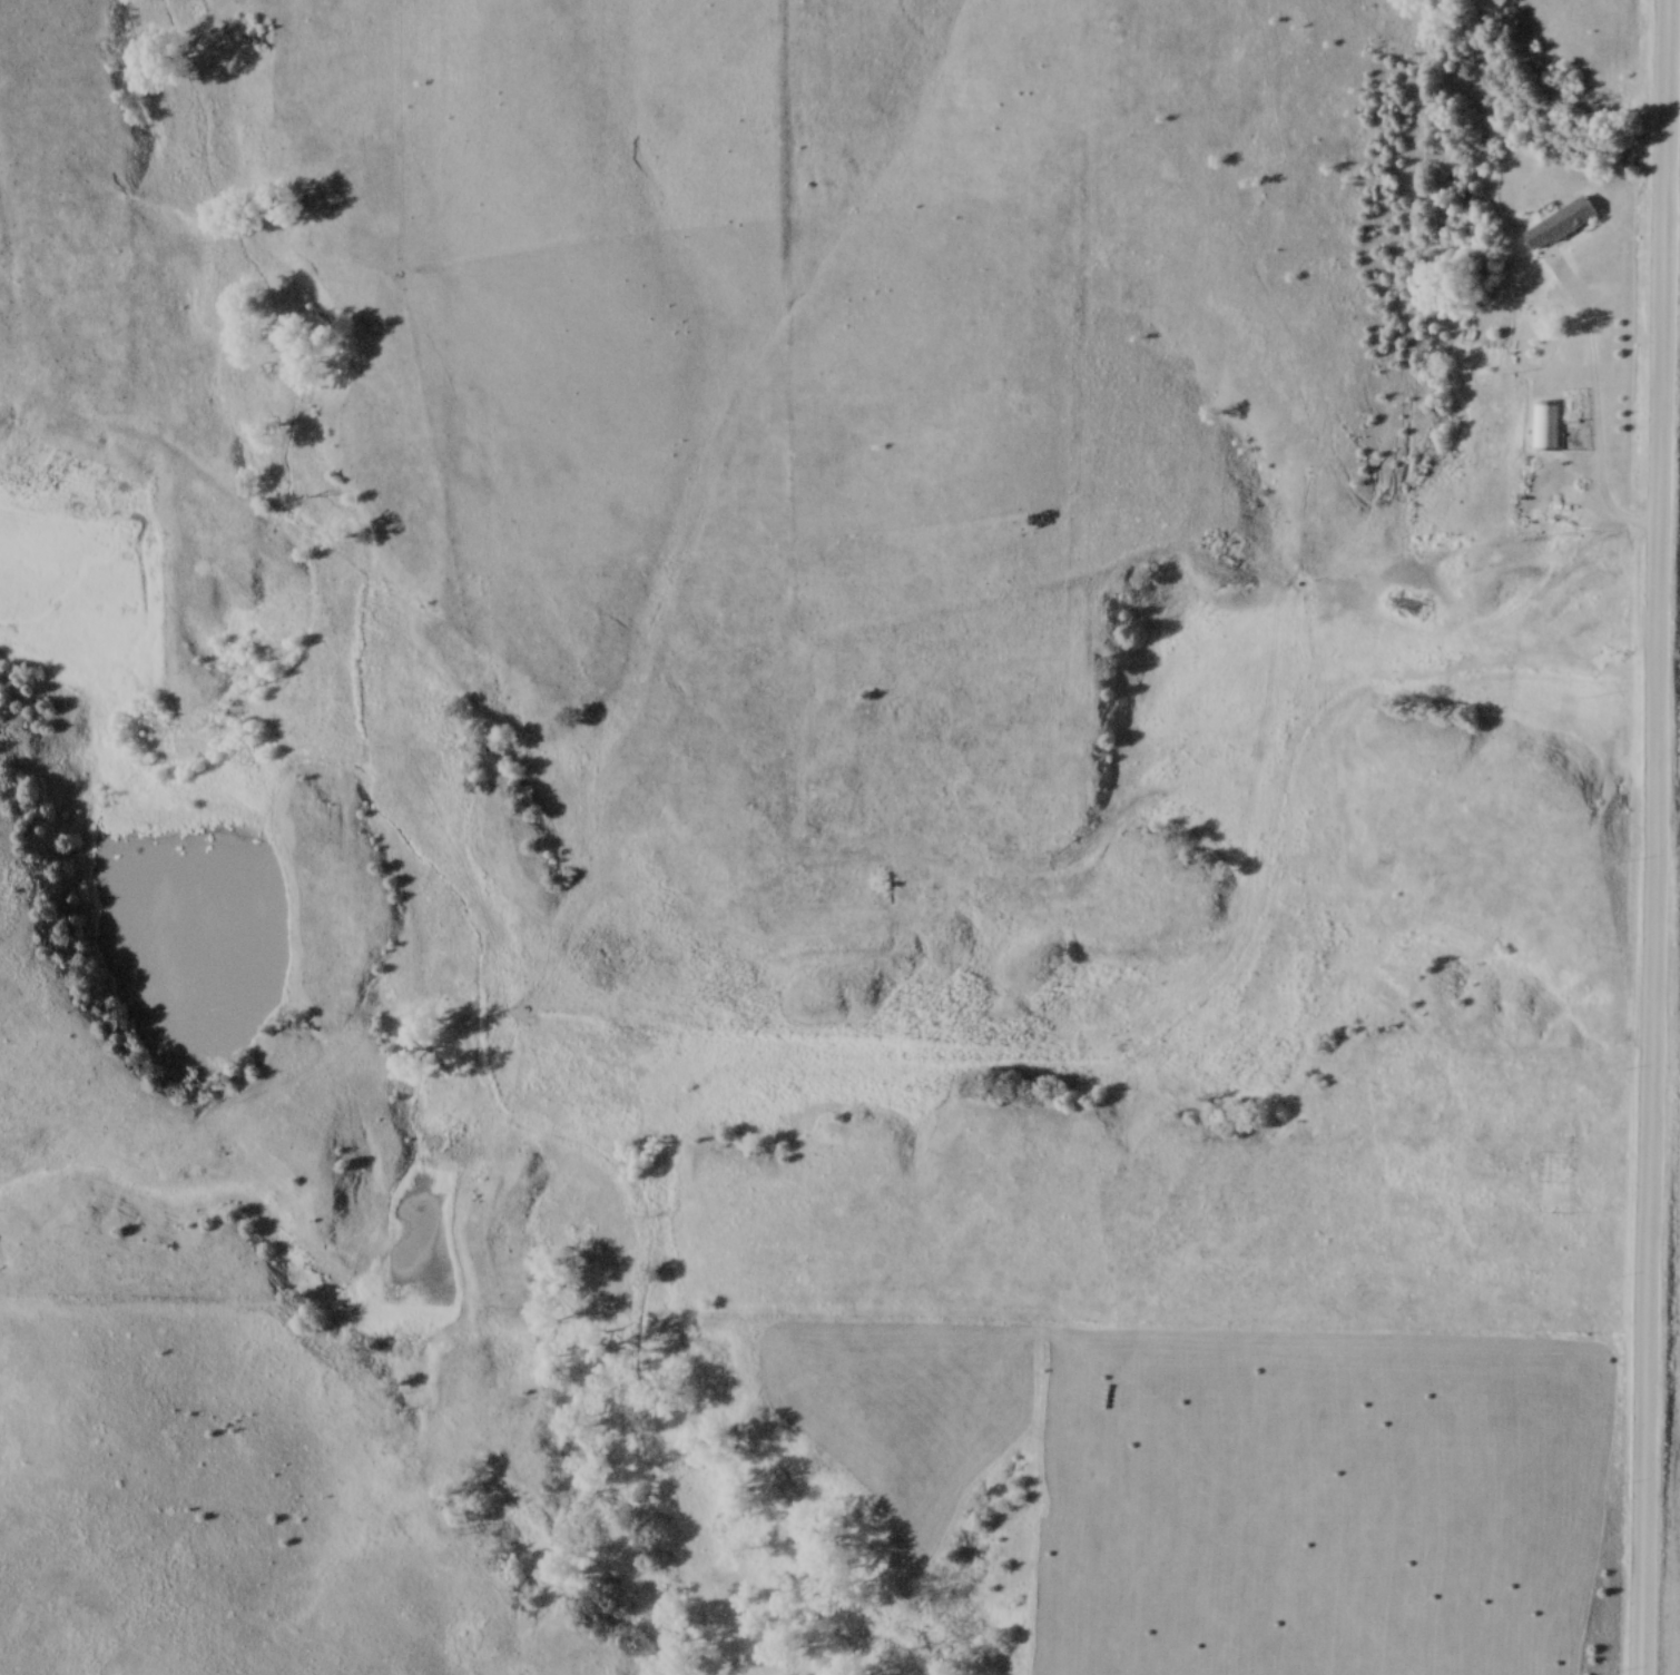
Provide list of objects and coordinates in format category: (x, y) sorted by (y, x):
building: (1566, 225)
road: (1601, 418)
building: (1548, 428)
road: (1657, 837)

